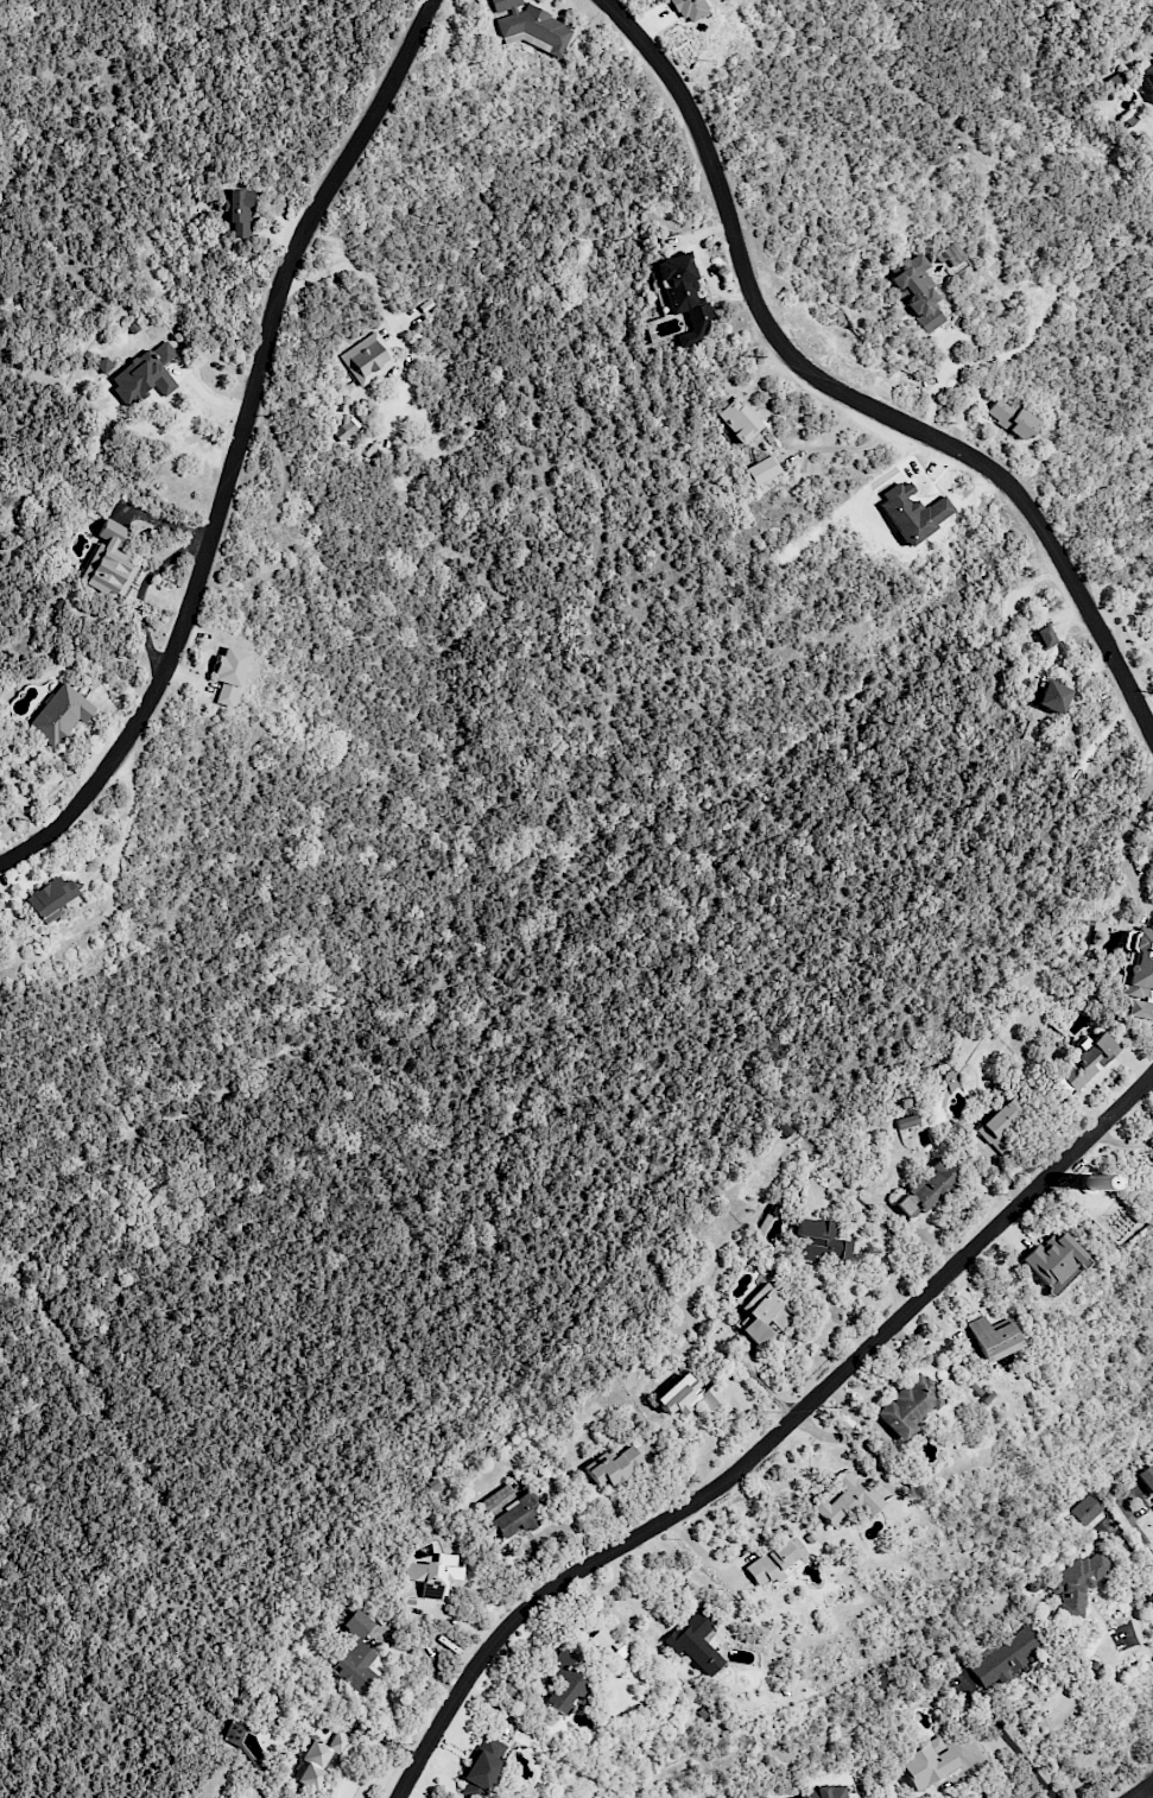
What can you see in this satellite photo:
building: (690, 10)
building: (530, 26)
building: (1147, 77)
building: (1116, 80)
building: (239, 211)
building: (917, 291)
building: (684, 297)
building: (368, 359)
building: (103, 365)
building: (145, 374)
road: (933, 381)
road: (844, 393)
building: (1012, 418)
building: (736, 420)
building: (349, 426)
road: (845, 448)
road: (237, 450)
building: (762, 470)
building: (912, 513)
building: (108, 562)
building: (1044, 637)
building: (228, 675)
building: (1052, 697)
building: (59, 715)
road: (1149, 717)
building: (50, 895)
building: (1138, 973)
building: (1088, 1061)
building: (905, 1121)
building: (1152, 1157)
building: (1146, 1176)
building: (926, 1189)
building: (822, 1240)
building: (762, 1313)
building: (993, 1338)
building: (688, 1395)
building: (910, 1406)
road: (772, 1441)
building: (614, 1467)
building: (1146, 1477)
building: (847, 1500)
building: (1152, 1505)
building: (1084, 1509)
building: (508, 1512)
road: (1141, 1530)
building: (773, 1562)
building: (433, 1575)
building: (1076, 1583)
road: (1133, 1603)
building: (695, 1640)
building: (356, 1655)
building: (1003, 1658)
building: (562, 1682)
building: (889, 1721)
road: (1018, 1746)
building: (318, 1760)
building: (926, 1764)
building: (483, 1767)
road: (975, 1778)
road: (1142, 1791)
building: (826, 1792)
road: (1147, 1793)

